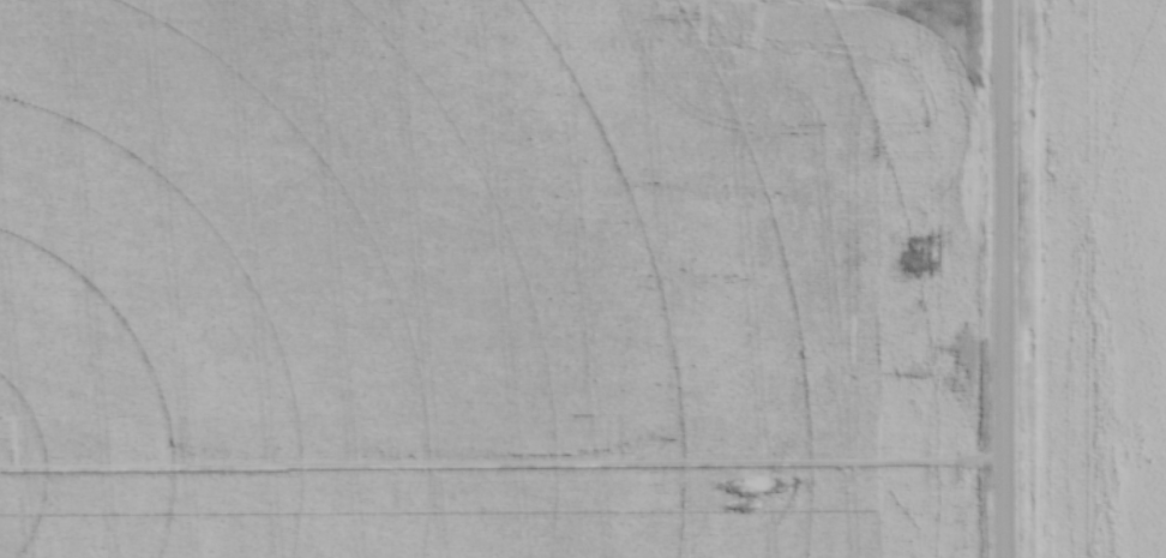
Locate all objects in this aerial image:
road: (1006, 278)

